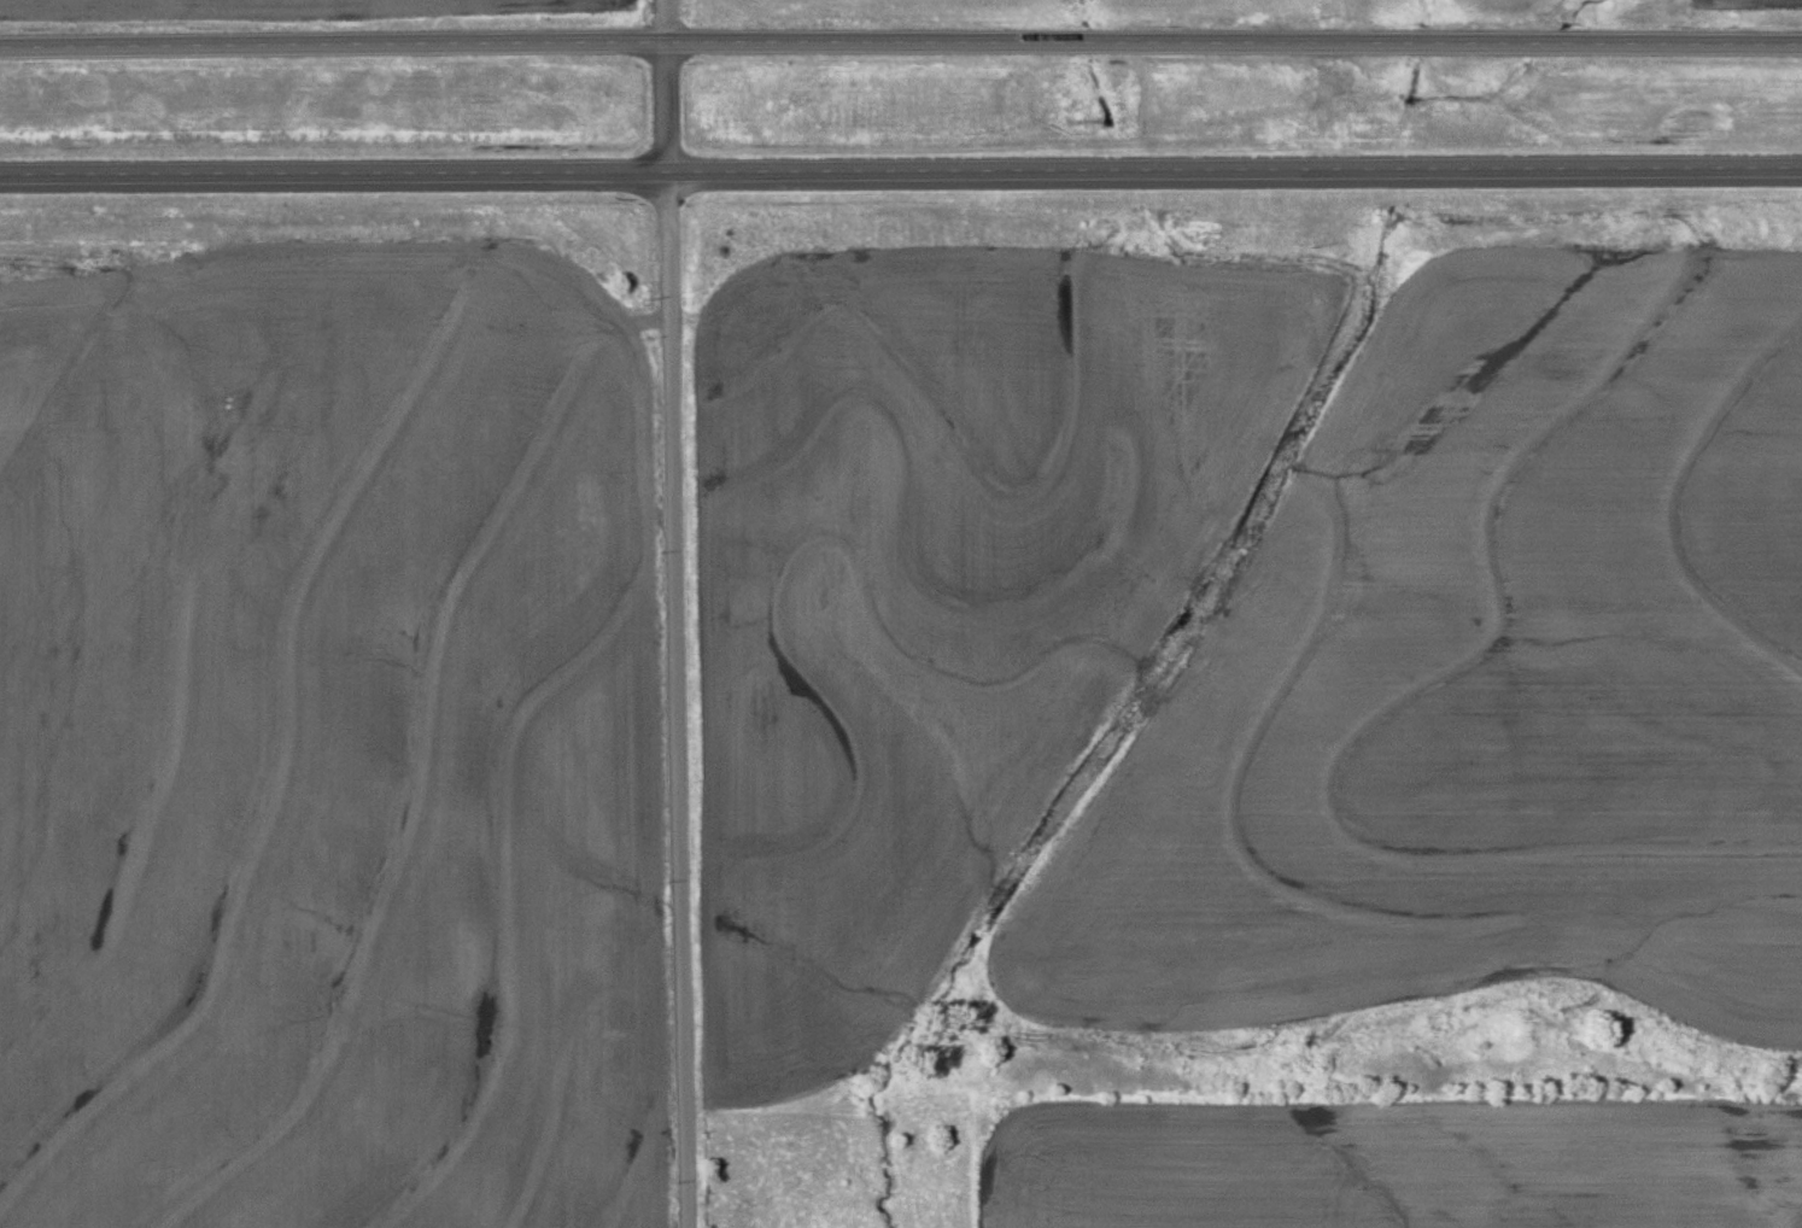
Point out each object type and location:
road: (900, 43)
road: (901, 170)
road: (679, 613)

